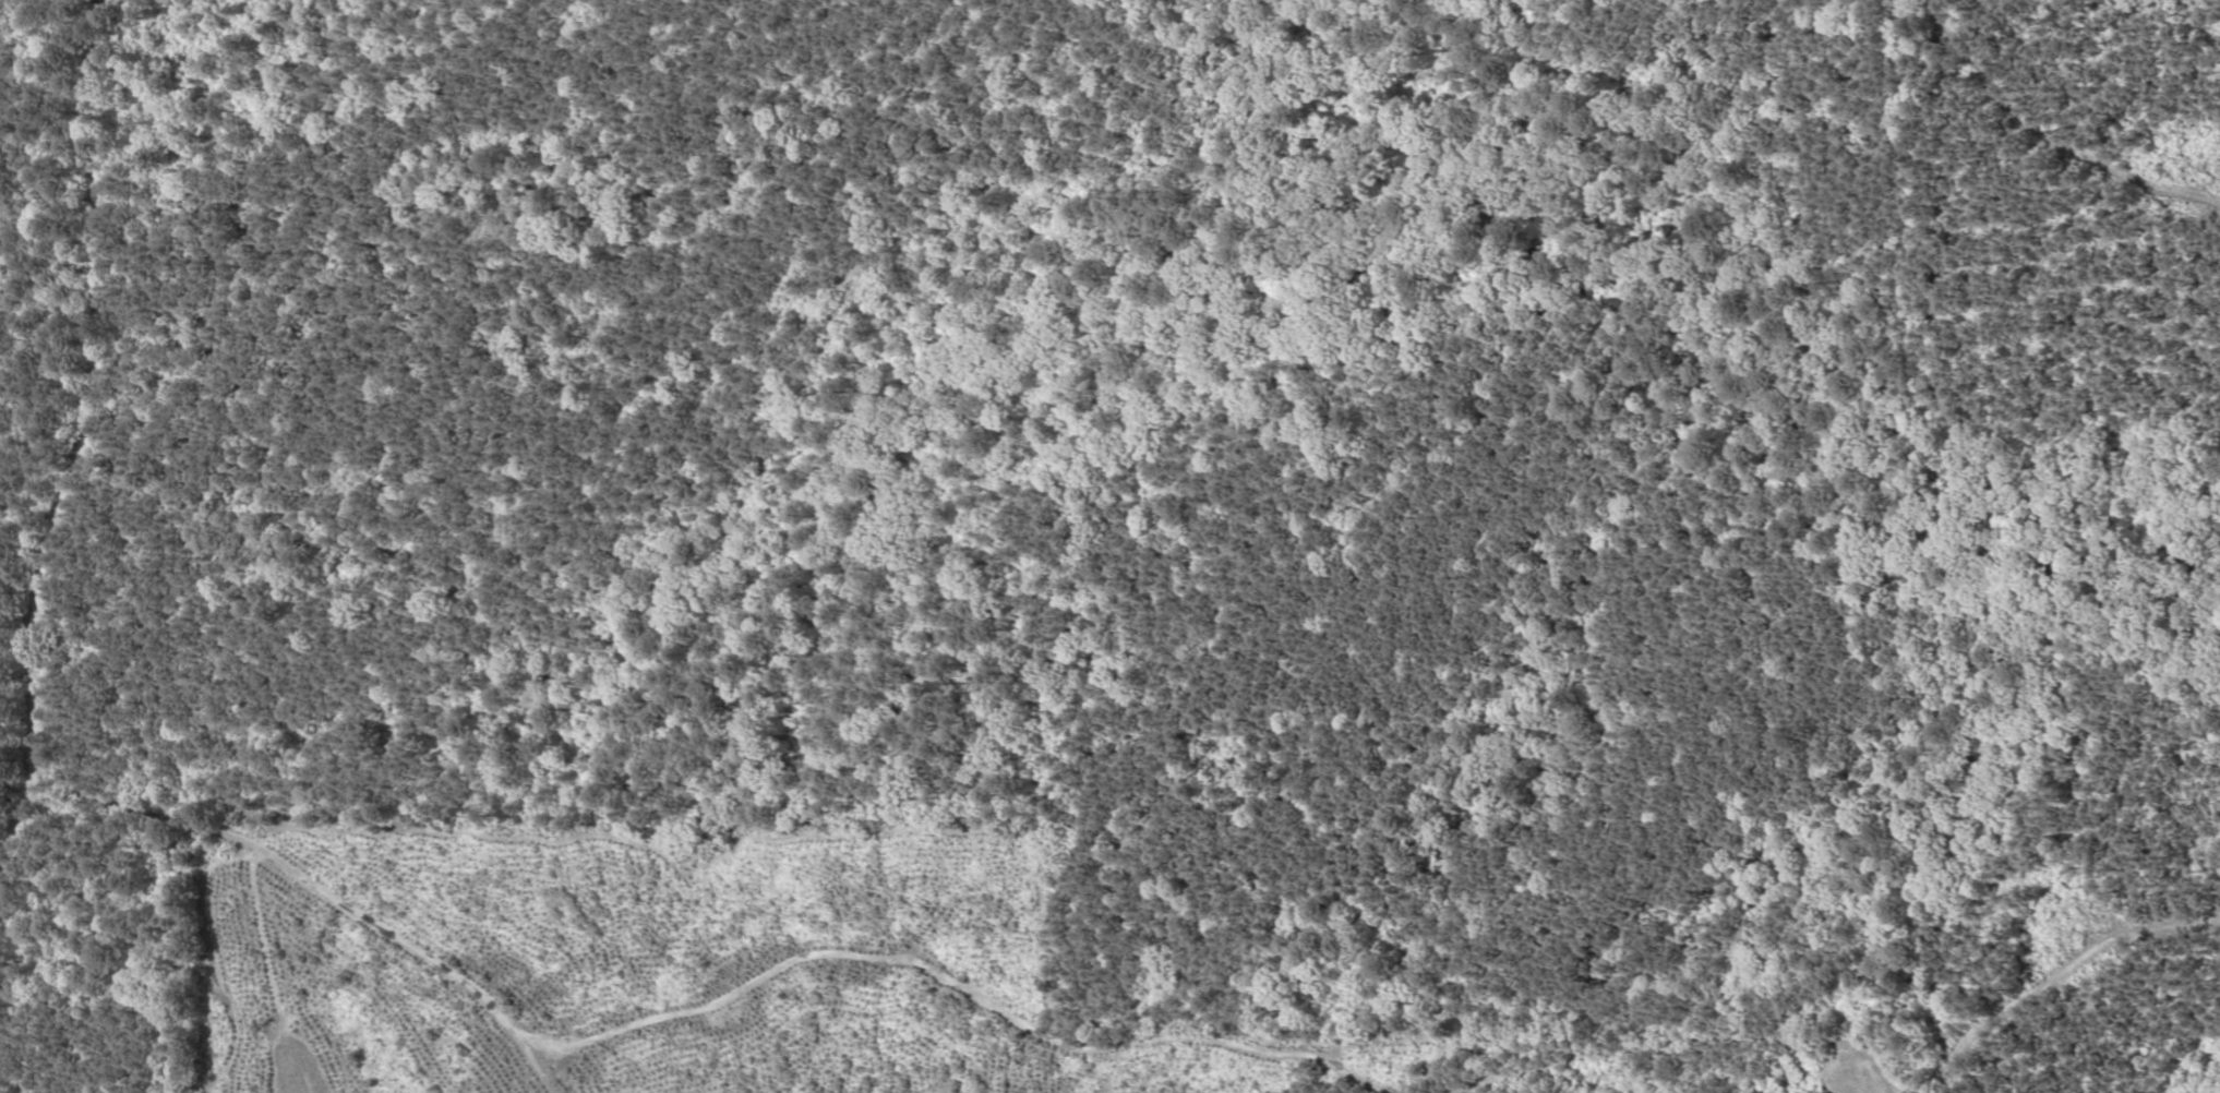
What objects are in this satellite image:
road: (93, 436)
road: (314, 909)

